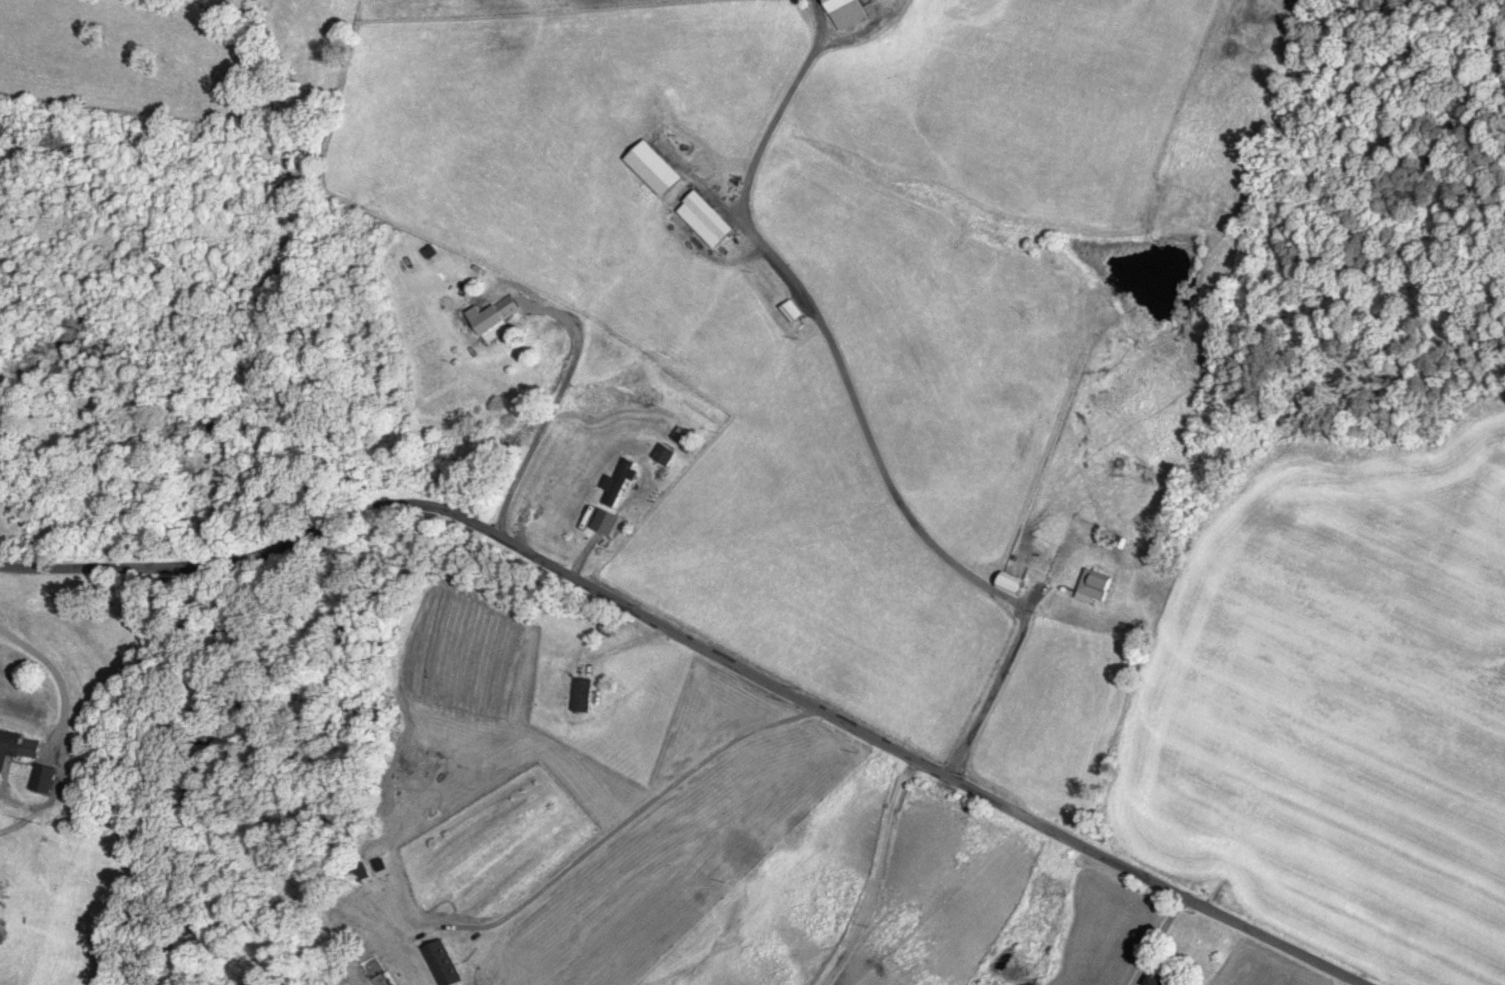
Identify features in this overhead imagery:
building: (843, 8)
building: (706, 217)
building: (488, 318)
road: (840, 383)
building: (201, 424)
building: (664, 453)
building: (619, 480)
road: (494, 546)
building: (1095, 583)
building: (582, 693)
building: (17, 746)
building: (43, 777)
road: (1212, 865)
building: (1158, 980)

